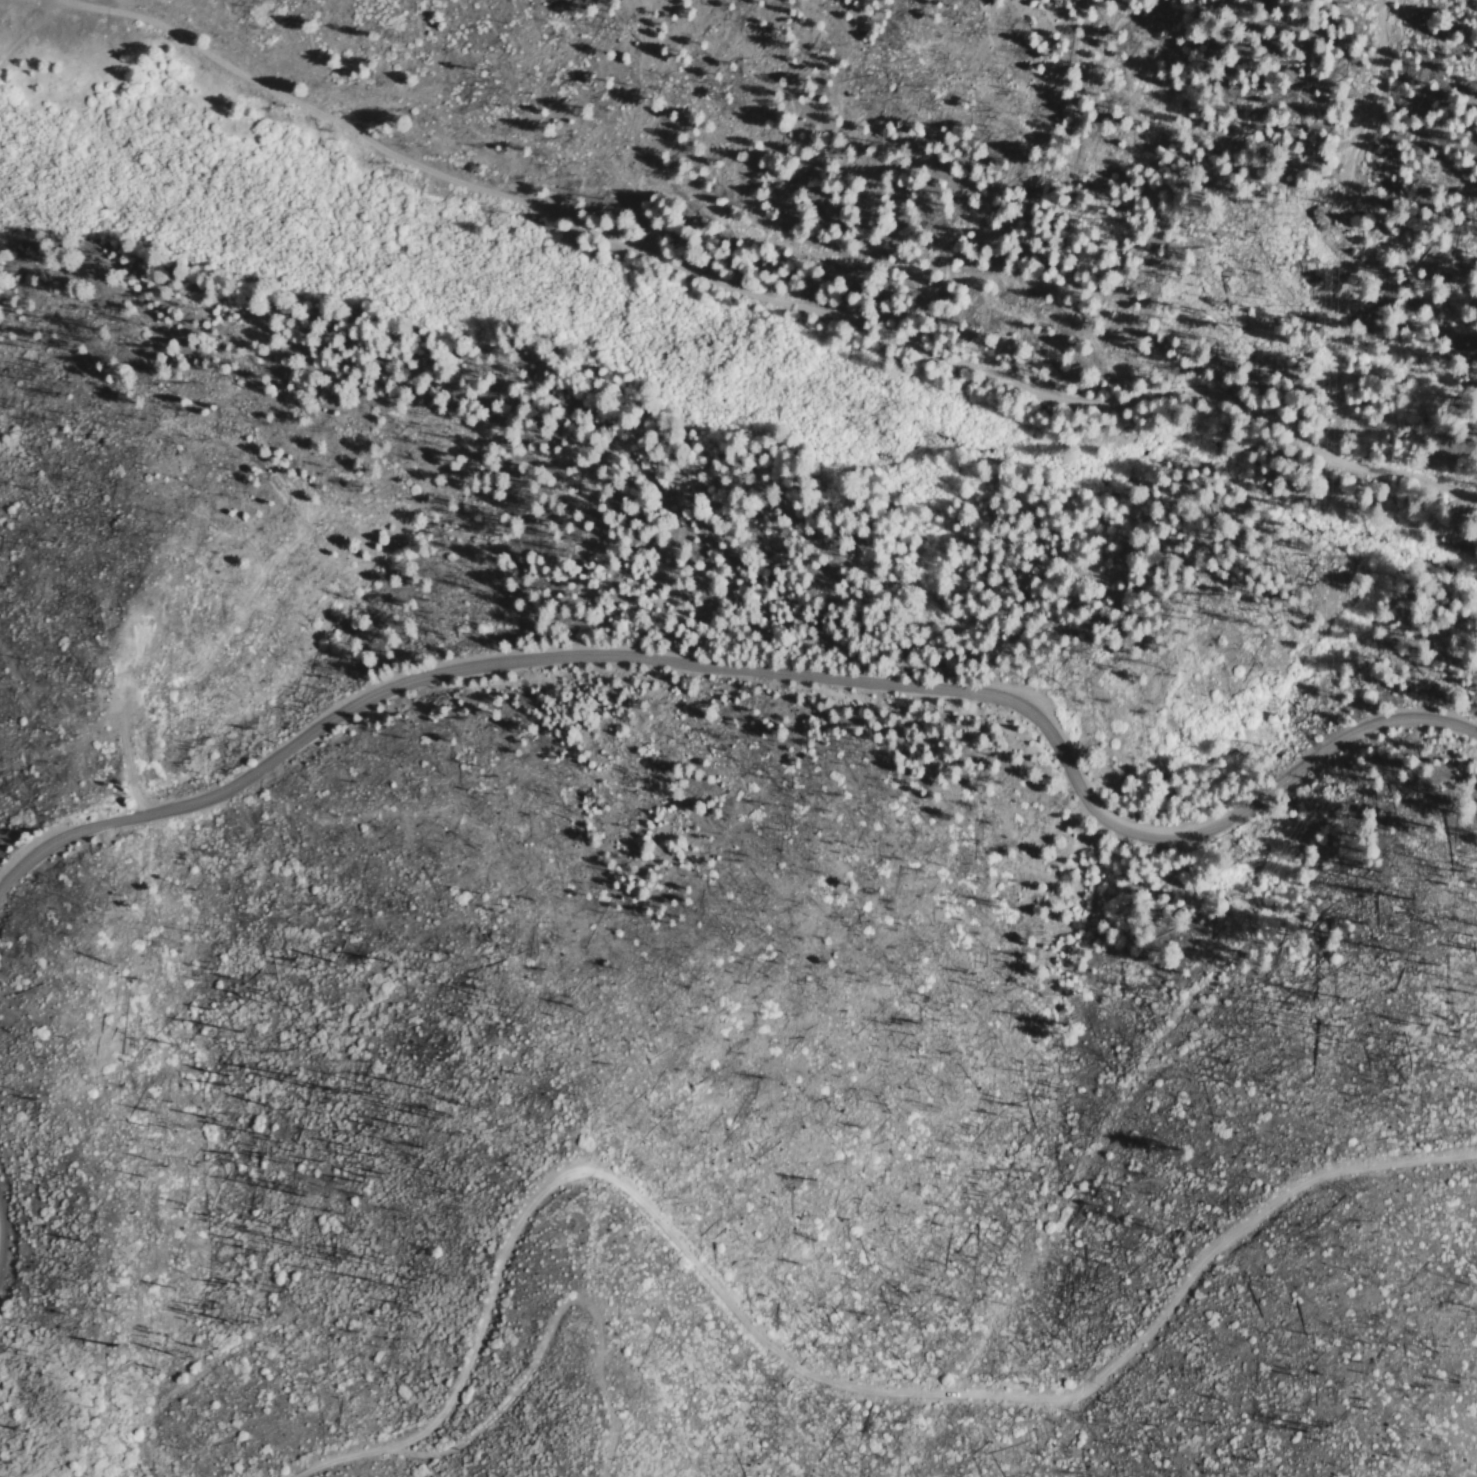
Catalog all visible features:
road: (756, 286)
road: (759, 671)
road: (126, 759)
road: (7, 1248)
road: (804, 1370)

